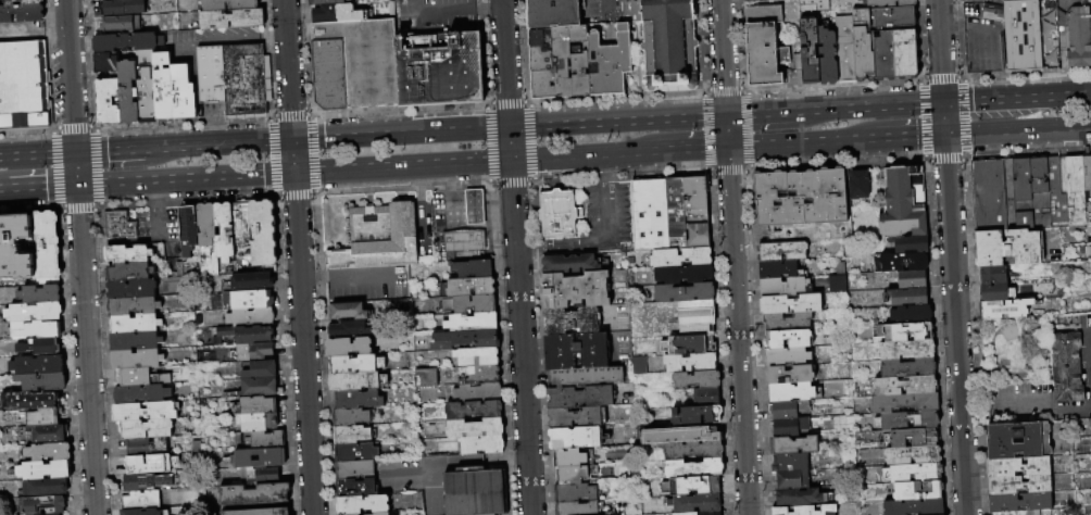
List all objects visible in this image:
building: (99, 0)
building: (974, 0)
building: (995, 0)
building: (750, 1)
building: (23, 2)
building: (329, 2)
building: (888, 3)
building: (212, 5)
building: (122, 8)
building: (1089, 9)
road: (488, 11)
building: (810, 12)
building: (554, 13)
building: (21, 14)
building: (338, 14)
building: (762, 14)
parking lot: (434, 15)
road: (434, 15)
building: (893, 17)
building: (231, 20)
building: (121, 24)
road: (950, 27)
road: (37, 33)
building: (1076, 36)
road: (983, 37)
building: (1020, 37)
road: (271, 40)
building: (666, 40)
building: (126, 42)
road: (212, 43)
road: (1046, 43)
building: (862, 46)
building: (843, 47)
building: (538, 51)
road: (939, 51)
building: (763, 54)
building: (795, 54)
building: (904, 54)
building: (564, 55)
building: (883, 55)
building: (808, 56)
building: (825, 56)
road: (637, 60)
building: (366, 61)
building: (609, 62)
building: (105, 64)
road: (504, 64)
building: (439, 66)
road: (287, 70)
building: (579, 72)
building: (211, 75)
building: (329, 75)
building: (246, 81)
road: (1050, 81)
building: (541, 84)
road: (987, 86)
building: (24, 87)
building: (146, 87)
building: (163, 87)
building: (183, 91)
building: (128, 92)
road: (1053, 97)
road: (979, 101)
building: (108, 102)
traffic signals: (942, 103)
road: (871, 108)
road: (763, 114)
traffic signals: (725, 116)
road: (616, 122)
traffic signals: (509, 128)
road: (1017, 129)
road: (400, 134)
traffic signals: (944, 135)
road: (901, 137)
traffic signals: (292, 141)
road: (792, 142)
road: (509, 143)
road: (224, 145)
traffic signals: (727, 147)
road: (692, 149)
road: (115, 151)
traffic signals: (75, 153)
road: (582, 154)
road: (37, 155)
road: (292, 156)
traffic signals: (510, 160)
road: (401, 165)
road: (610, 168)
traffic signals: (293, 172)
road: (450, 176)
road: (185, 177)
building: (858, 184)
road: (880, 184)
traffic signals: (77, 185)
road: (39, 187)
building: (1088, 188)
road: (0, 189)
road: (871, 189)
building: (1057, 190)
building: (1076, 192)
building: (1040, 193)
road: (159, 194)
building: (1023, 194)
building: (994, 196)
building: (695, 197)
building: (800, 197)
road: (451, 205)
building: (474, 208)
road: (498, 212)
road: (613, 212)
road: (475, 213)
building: (675, 213)
road: (459, 214)
building: (557, 215)
building: (649, 215)
building: (118, 226)
road: (161, 226)
building: (241, 230)
building: (810, 231)
building: (224, 233)
building: (263, 236)
building: (698, 236)
building: (378, 238)
building: (206, 240)
building: (46, 243)
building: (462, 243)
road: (584, 243)
building: (910, 243)
building: (188, 244)
road: (534, 246)
building: (15, 248)
building: (1008, 248)
building: (781, 251)
building: (127, 253)
building: (467, 254)
road: (80, 256)
road: (732, 256)
building: (680, 257)
building: (901, 262)
building: (568, 264)
building: (474, 269)
building: (779, 269)
building: (129, 272)
building: (682, 275)
building: (995, 275)
building: (910, 278)
building: (47, 281)
building: (251, 281)
road: (367, 282)
building: (835, 284)
road: (316, 285)
building: (1089, 286)
building: (785, 287)
building: (467, 288)
building: (130, 289)
building: (575, 290)
building: (998, 292)
building: (684, 293)
building: (38, 294)
building: (908, 297)
building: (252, 300)
building: (215, 302)
building: (791, 304)
building: (468, 305)
building: (133, 306)
road: (954, 309)
building: (1007, 310)
building: (34, 312)
building: (349, 312)
building: (695, 313)
building: (911, 314)
building: (250, 318)
building: (570, 321)
building: (788, 322)
building: (471, 323)
building: (135, 324)
road: (1089, 326)
building: (33, 329)
building: (348, 329)
building: (695, 330)
building: (222, 332)
building: (903, 332)
road: (1088, 334)
building: (254, 335)
road: (519, 337)
building: (787, 339)
building: (465, 340)
building: (135, 341)
road: (303, 342)
building: (688, 346)
building: (40, 347)
building: (349, 347)
building: (906, 350)
building: (258, 351)
park: (1015, 352)
building: (477, 357)
building: (787, 357)
building: (136, 360)
building: (559, 360)
building: (690, 363)
building: (36, 364)
road: (1089, 364)
building: (355, 365)
building: (908, 367)
building: (1067, 368)
building: (261, 370)
building: (791, 375)
building: (481, 376)
building: (586, 377)
building: (139, 378)
building: (427, 378)
building: (695, 380)
building: (41, 381)
building: (356, 381)
building: (905, 386)
building: (256, 389)
building: (793, 392)
building: (478, 393)
building: (140, 394)
building: (707, 397)
road: (1090, 397)
building: (580, 398)
building: (29, 400)
building: (359, 400)
road: (1046, 400)
building: (904, 403)
building: (255, 405)
building: (474, 410)
building: (790, 410)
building: (146, 412)
building: (697, 415)
building: (40, 417)
building: (351, 417)
building: (575, 418)
building: (906, 420)
building: (258, 422)
building: (1089, 424)
building: (790, 427)
building: (146, 429)
building: (475, 429)
building: (47, 432)
building: (351, 436)
building: (677, 436)
building: (899, 437)
building: (574, 438)
building: (264, 440)
building: (1019, 441)
building: (481, 445)
building: (795, 445)
building: (146, 447)
building: (693, 450)
building: (48, 451)
building: (355, 452)
building: (913, 455)
building: (569, 459)
building: (237, 460)
road: (475, 463)
building: (790, 463)
building: (150, 464)
building: (1019, 467)
building: (693, 468)
building: (42, 469)
building: (354, 470)
building: (913, 474)
building: (572, 475)
building: (260, 476)
road: (406, 477)
building: (794, 479)
building: (145, 482)
building: (691, 486)
building: (1020, 486)
building: (45, 487)
building: (355, 488)
building: (918, 490)
building: (574, 492)
building: (475, 493)
building: (254, 494)
building: (800, 497)
building: (140, 500)
building: (1021, 503)
building: (694, 504)
building: (40, 505)
building: (363, 505)
building: (914, 506)
building: (576, 508)
building: (806, 511)
building: (140, 512)
building: (258, 512)
building: (700, 513)
building: (49, 514)
building: (381, 514)

